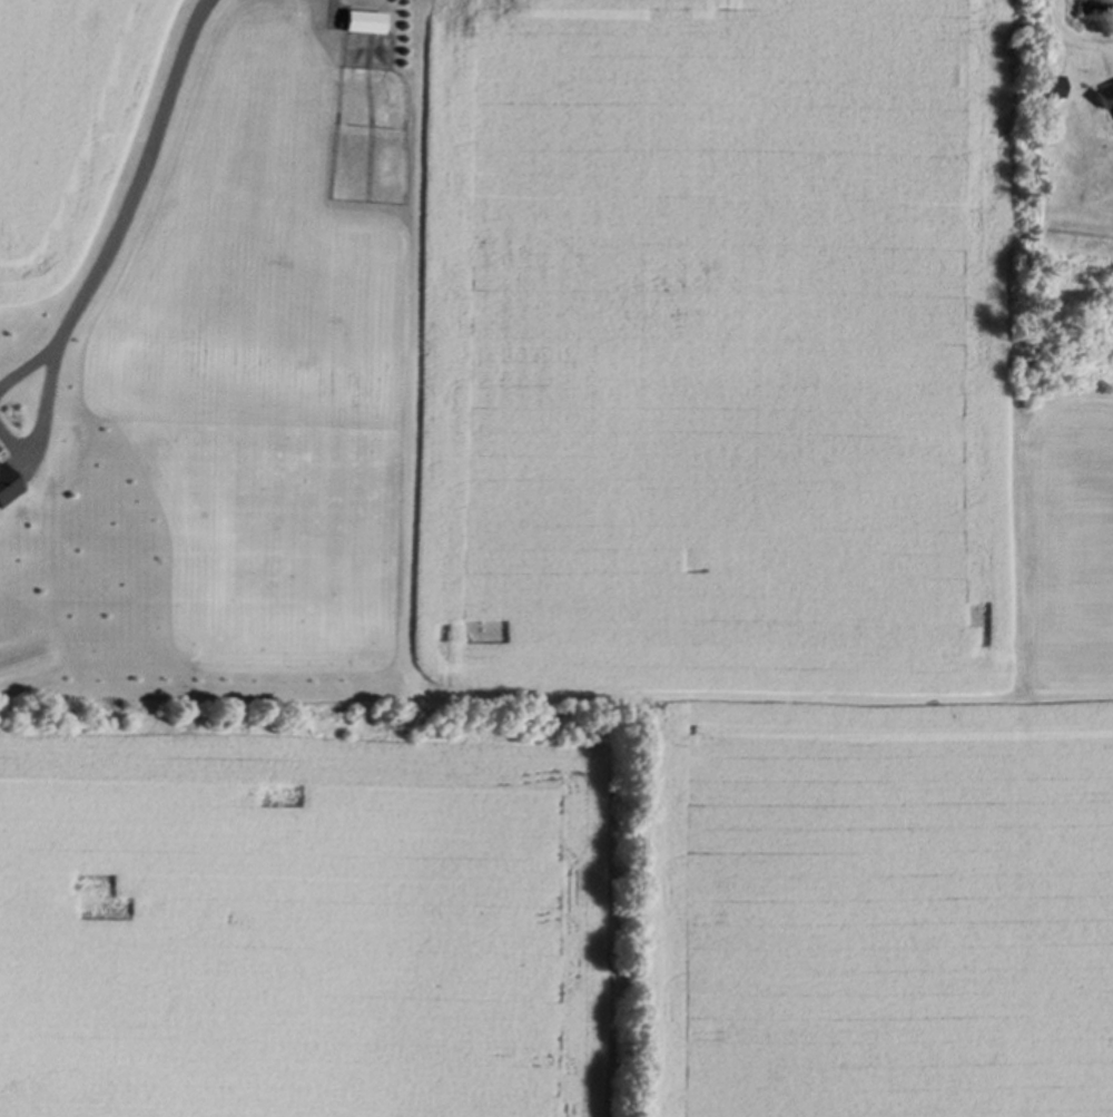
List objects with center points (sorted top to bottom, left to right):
crop: (1100, 11)
road: (1067, 41)
building: (1044, 90)
building: (1103, 98)
crop: (69, 124)
road: (121, 225)
crop: (589, 601)

